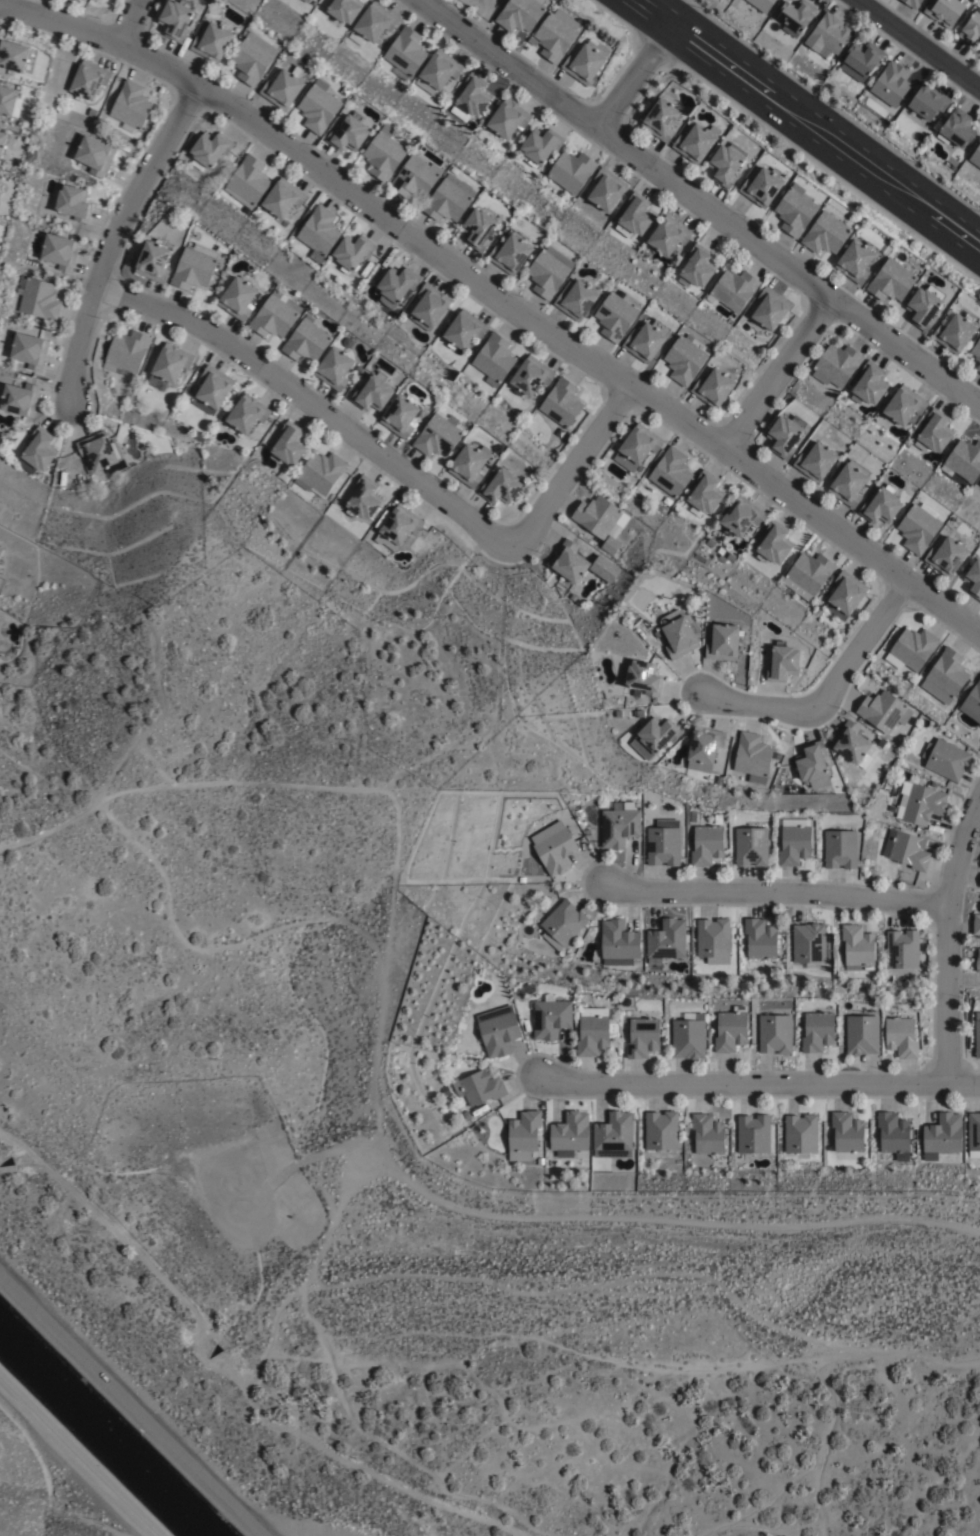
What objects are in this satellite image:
building: (94, 1)
building: (305, 1)
building: (912, 4)
building: (762, 5)
building: (343, 12)
building: (944, 13)
building: (521, 15)
building: (797, 18)
building: (176, 20)
road: (131, 22)
building: (372, 26)
building: (971, 32)
building: (556, 36)
building: (828, 36)
building: (213, 43)
road: (918, 44)
building: (13, 51)
building: (406, 55)
building: (253, 59)
building: (862, 59)
building: (586, 63)
building: (438, 74)
building: (89, 78)
road: (636, 78)
building: (890, 85)
building: (282, 91)
building: (9, 98)
building: (472, 100)
building: (131, 105)
building: (928, 105)
building: (319, 108)
building: (506, 115)
building: (661, 122)
road: (809, 122)
building: (956, 132)
building: (2, 137)
building: (348, 137)
building: (539, 143)
building: (697, 145)
building: (209, 147)
building: (95, 151)
building: (384, 155)
building: (973, 163)
building: (727, 166)
building: (571, 169)
building: (415, 179)
building: (247, 180)
building: (1, 186)
building: (605, 187)
building: (763, 189)
building: (282, 195)
building: (72, 200)
building: (449, 201)
road: (699, 204)
building: (796, 212)
building: (634, 213)
building: (319, 231)
building: (480, 232)
building: (667, 233)
road: (113, 237)
building: (827, 237)
building: (60, 248)
building: (352, 250)
building: (512, 254)
building: (152, 259)
building: (857, 263)
building: (194, 265)
building: (696, 265)
building: (548, 269)
building: (891, 279)
building: (398, 281)
building: (732, 290)
building: (236, 296)
building: (38, 297)
road: (503, 297)
building: (576, 298)
building: (924, 304)
building: (429, 305)
building: (771, 306)
building: (275, 314)
building: (615, 315)
building: (397, 322)
building: (464, 328)
building: (954, 331)
building: (646, 338)
building: (306, 339)
building: (29, 348)
building: (976, 348)
building: (127, 352)
building: (494, 358)
building: (685, 358)
building: (170, 363)
building: (836, 363)
building: (978, 366)
building: (334, 367)
building: (358, 369)
building: (531, 375)
road: (775, 375)
building: (213, 385)
building: (869, 385)
building: (714, 386)
building: (373, 392)
building: (19, 397)
road: (308, 401)
building: (562, 402)
building: (903, 403)
building: (246, 412)
building: (401, 414)
building: (933, 431)
building: (439, 434)
building: (783, 435)
building: (289, 442)
building: (636, 446)
building: (499, 448)
building: (99, 449)
building: (37, 451)
building: (963, 459)
building: (814, 460)
building: (469, 463)
road: (570, 465)
building: (87, 468)
building: (320, 471)
building: (671, 471)
building: (848, 481)
building: (501, 485)
building: (704, 493)
building: (363, 498)
building: (880, 504)
building: (600, 516)
building: (741, 516)
building: (397, 526)
building: (918, 526)
building: (588, 534)
building: (774, 542)
building: (609, 545)
building: (1, 549)
building: (946, 555)
building: (568, 561)
building: (603, 568)
building: (808, 574)
building: (973, 578)
building: (845, 595)
building: (658, 633)
building: (681, 635)
building: (723, 642)
building: (911, 649)
building: (783, 663)
building: (945, 675)
building: (643, 677)
road: (828, 697)
building: (973, 699)
building: (881, 710)
building: (979, 724)
building: (654, 737)
building: (880, 743)
building: (853, 745)
building: (703, 750)
building: (752, 757)
building: (946, 759)
building: (813, 764)
building: (919, 803)
building: (619, 825)
building: (795, 842)
building: (663, 843)
building: (707, 845)
building: (751, 846)
building: (554, 848)
building: (840, 849)
building: (906, 850)
building: (521, 880)
building: (979, 889)
road: (773, 893)
building: (562, 925)
building: (976, 926)
road: (946, 938)
building: (666, 940)
building: (618, 941)
building: (713, 941)
building: (761, 942)
building: (809, 946)
building: (858, 948)
building: (903, 953)
building: (978, 963)
building: (550, 1018)
building: (525, 1023)
building: (497, 1031)
building: (731, 1031)
building: (595, 1032)
building: (818, 1032)
building: (775, 1034)
building: (977, 1035)
building: (862, 1036)
building: (643, 1038)
building: (689, 1038)
building: (902, 1038)
road: (756, 1084)
building: (479, 1088)
building: (465, 1114)
building: (661, 1132)
building: (523, 1134)
building: (613, 1134)
building: (846, 1134)
building: (569, 1135)
building: (753, 1135)
building: (707, 1136)
building: (801, 1136)
building: (893, 1136)
building: (974, 1136)
building: (942, 1137)
building: (540, 1162)
road: (131, 1407)
road: (75, 1460)

